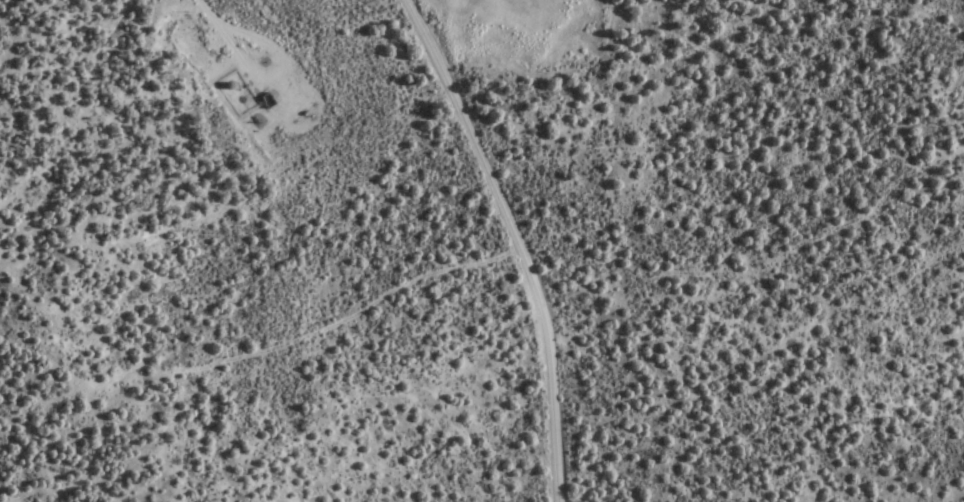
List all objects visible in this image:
road: (518, 246)

